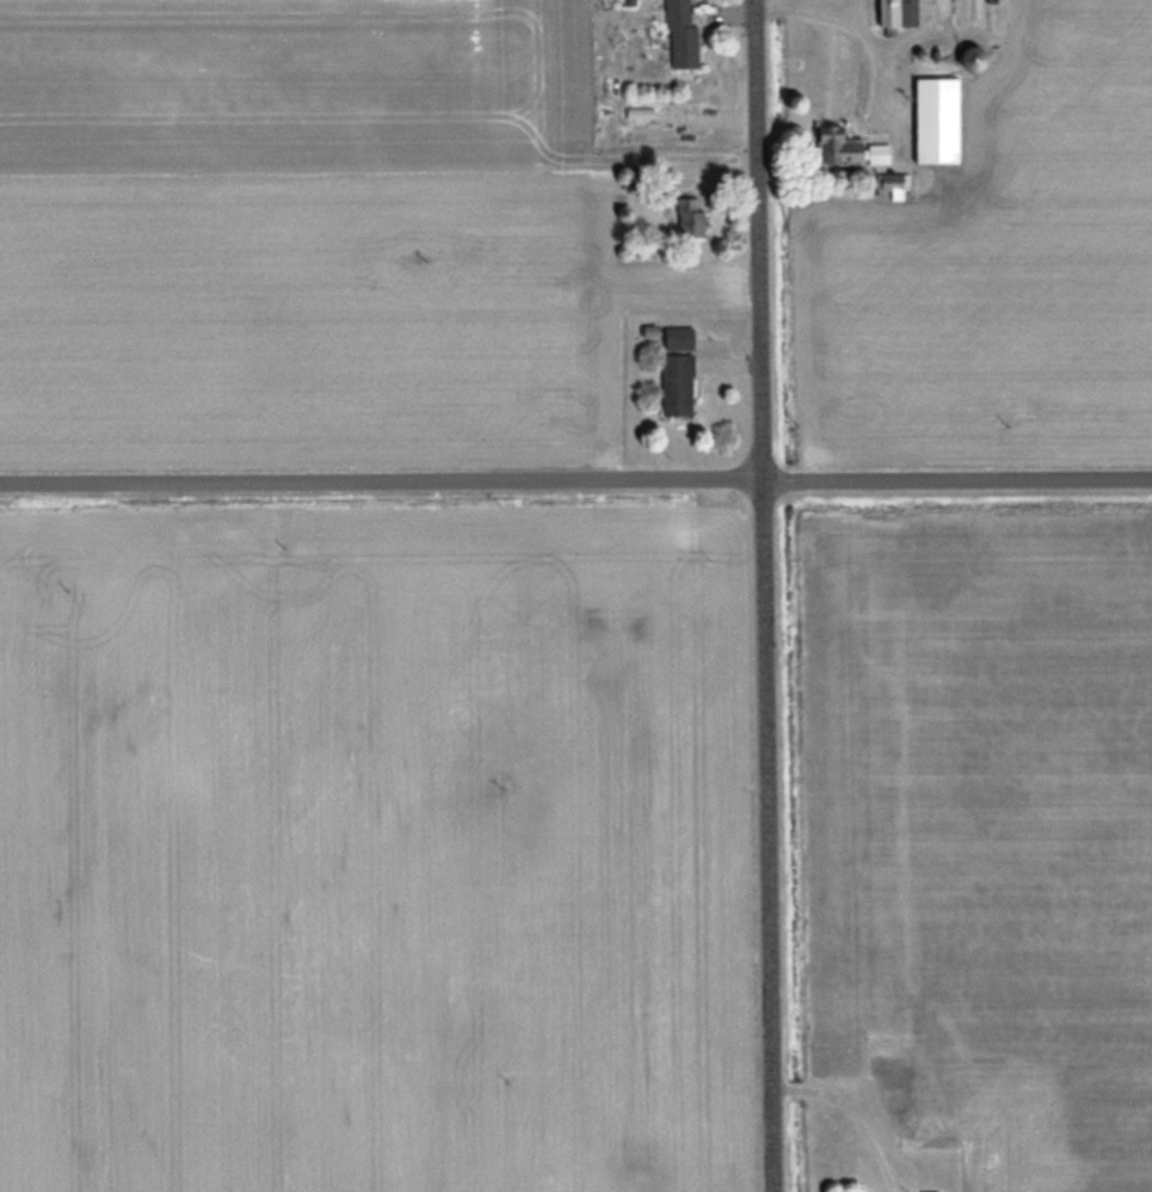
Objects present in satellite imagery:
building: (996, 0)
road: (848, 6)
building: (971, 8)
building: (895, 12)
building: (680, 35)
road: (873, 42)
building: (936, 119)
building: (834, 145)
building: (877, 152)
building: (893, 183)
building: (689, 215)
building: (677, 337)
building: (674, 382)
road: (575, 485)
road: (766, 595)
building: (885, 1086)
building: (932, 1143)
building: (929, 1191)

